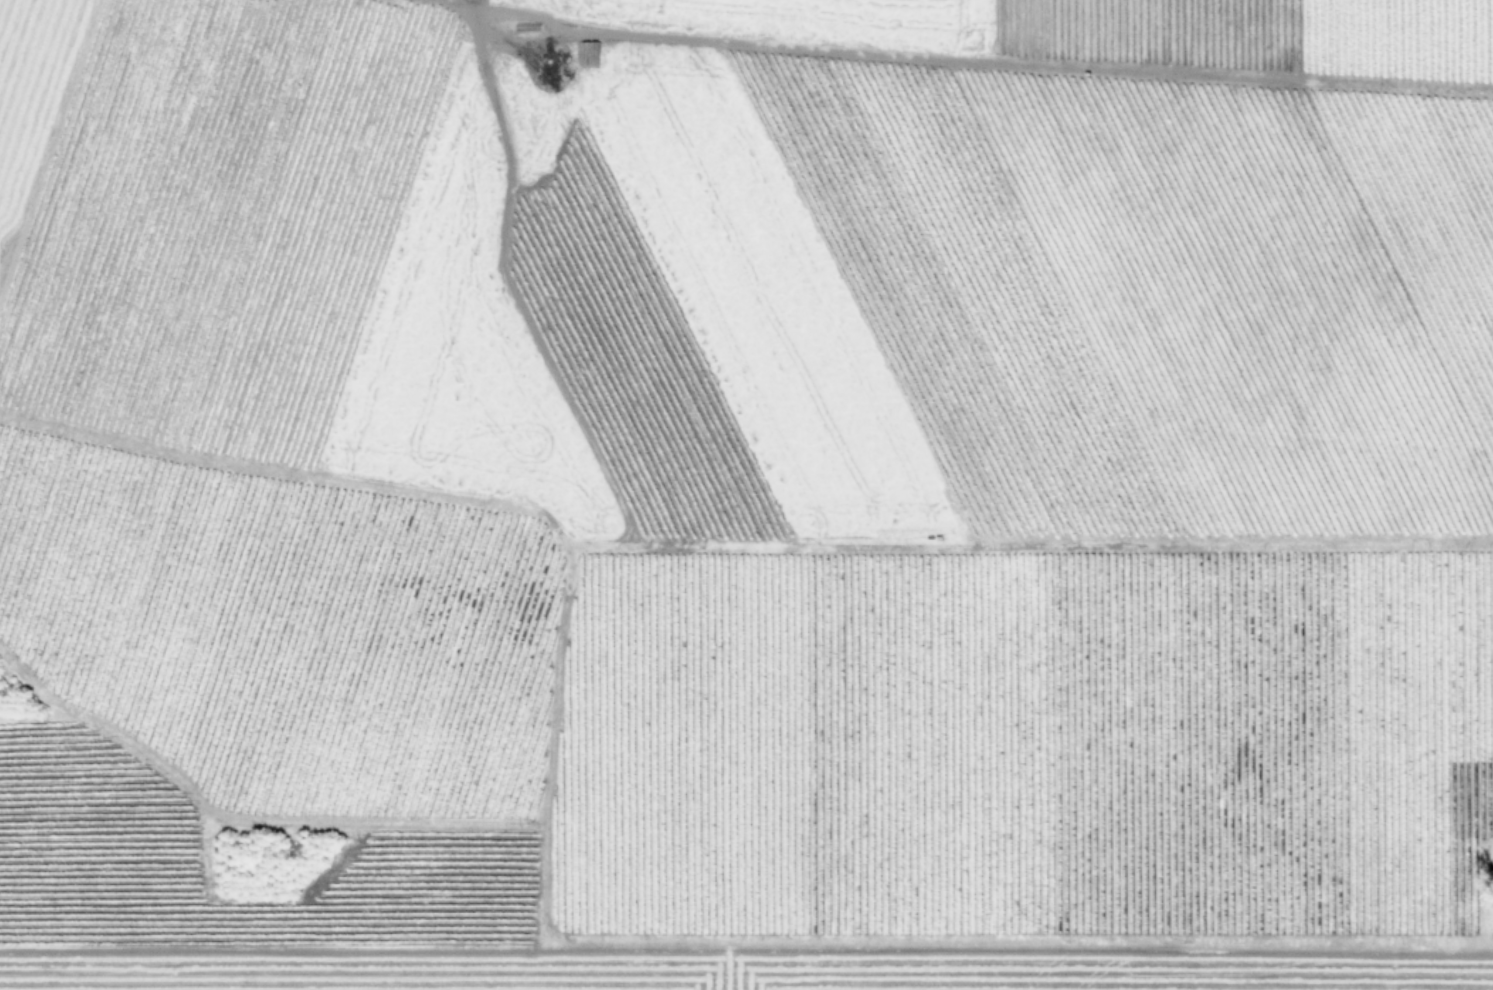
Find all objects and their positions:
crop: (746, 495)

